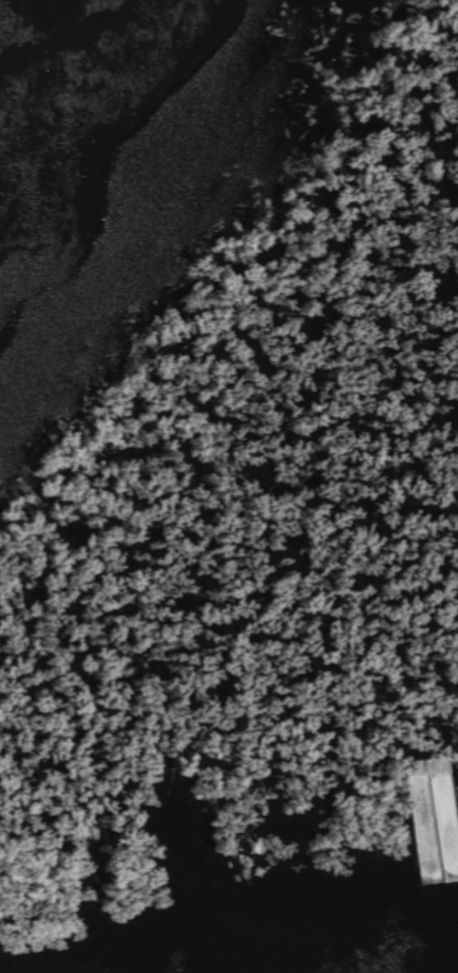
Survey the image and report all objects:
river: (399, 955)

